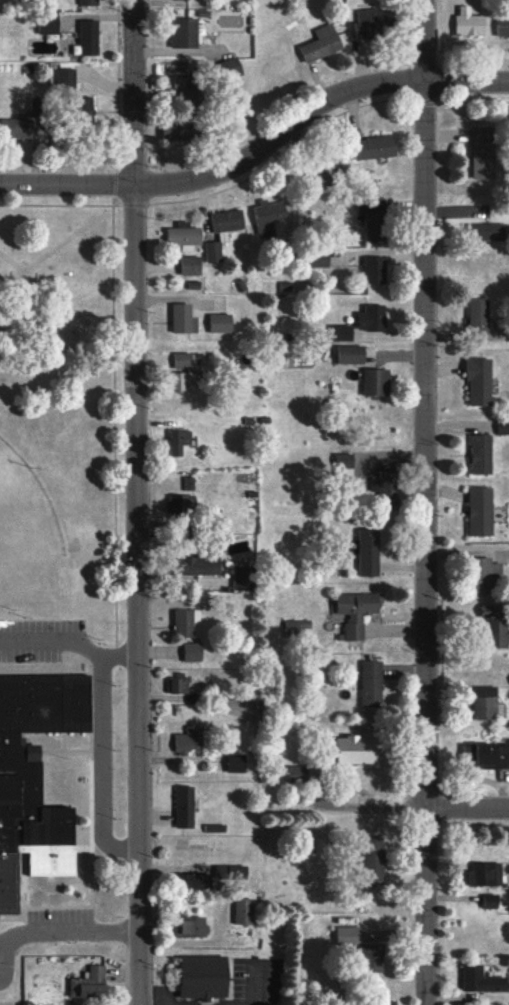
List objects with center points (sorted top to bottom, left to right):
building: (89, 2)
building: (370, 23)
building: (470, 23)
building: (50, 24)
building: (503, 25)
building: (186, 32)
building: (89, 37)
building: (322, 44)
building: (66, 75)
building: (192, 92)
building: (37, 108)
building: (18, 128)
building: (183, 128)
road: (256, 143)
building: (378, 147)
building: (485, 151)
building: (271, 216)
building: (375, 218)
building: (229, 220)
building: (490, 231)
building: (186, 235)
building: (215, 251)
building: (193, 265)
building: (376, 269)
building: (480, 314)
building: (186, 318)
building: (374, 318)
building: (223, 323)
building: (344, 332)
building: (353, 354)
building: (184, 380)
building: (482, 381)
building: (379, 382)
building: (505, 427)
building: (181, 441)
building: (483, 454)
building: (346, 465)
building: (191, 483)
building: (388, 485)
road: (133, 502)
road: (422, 502)
building: (183, 506)
building: (482, 511)
building: (370, 552)
building: (207, 565)
building: (489, 573)
building: (245, 578)
building: (358, 612)
building: (188, 623)
building: (497, 624)
building: (195, 651)
building: (178, 683)
building: (372, 684)
building: (487, 702)
building: (192, 740)
building: (359, 749)
building: (494, 756)
building: (237, 762)
building: (300, 775)
building: (36, 777)
building: (186, 807)
road: (465, 807)
building: (319, 845)
building: (377, 858)
building: (232, 872)
building: (486, 874)
building: (200, 881)
building: (492, 901)
building: (245, 911)
building: (192, 927)
building: (364, 948)
building: (483, 979)
building: (91, 983)
building: (189, 983)
building: (389, 1002)

